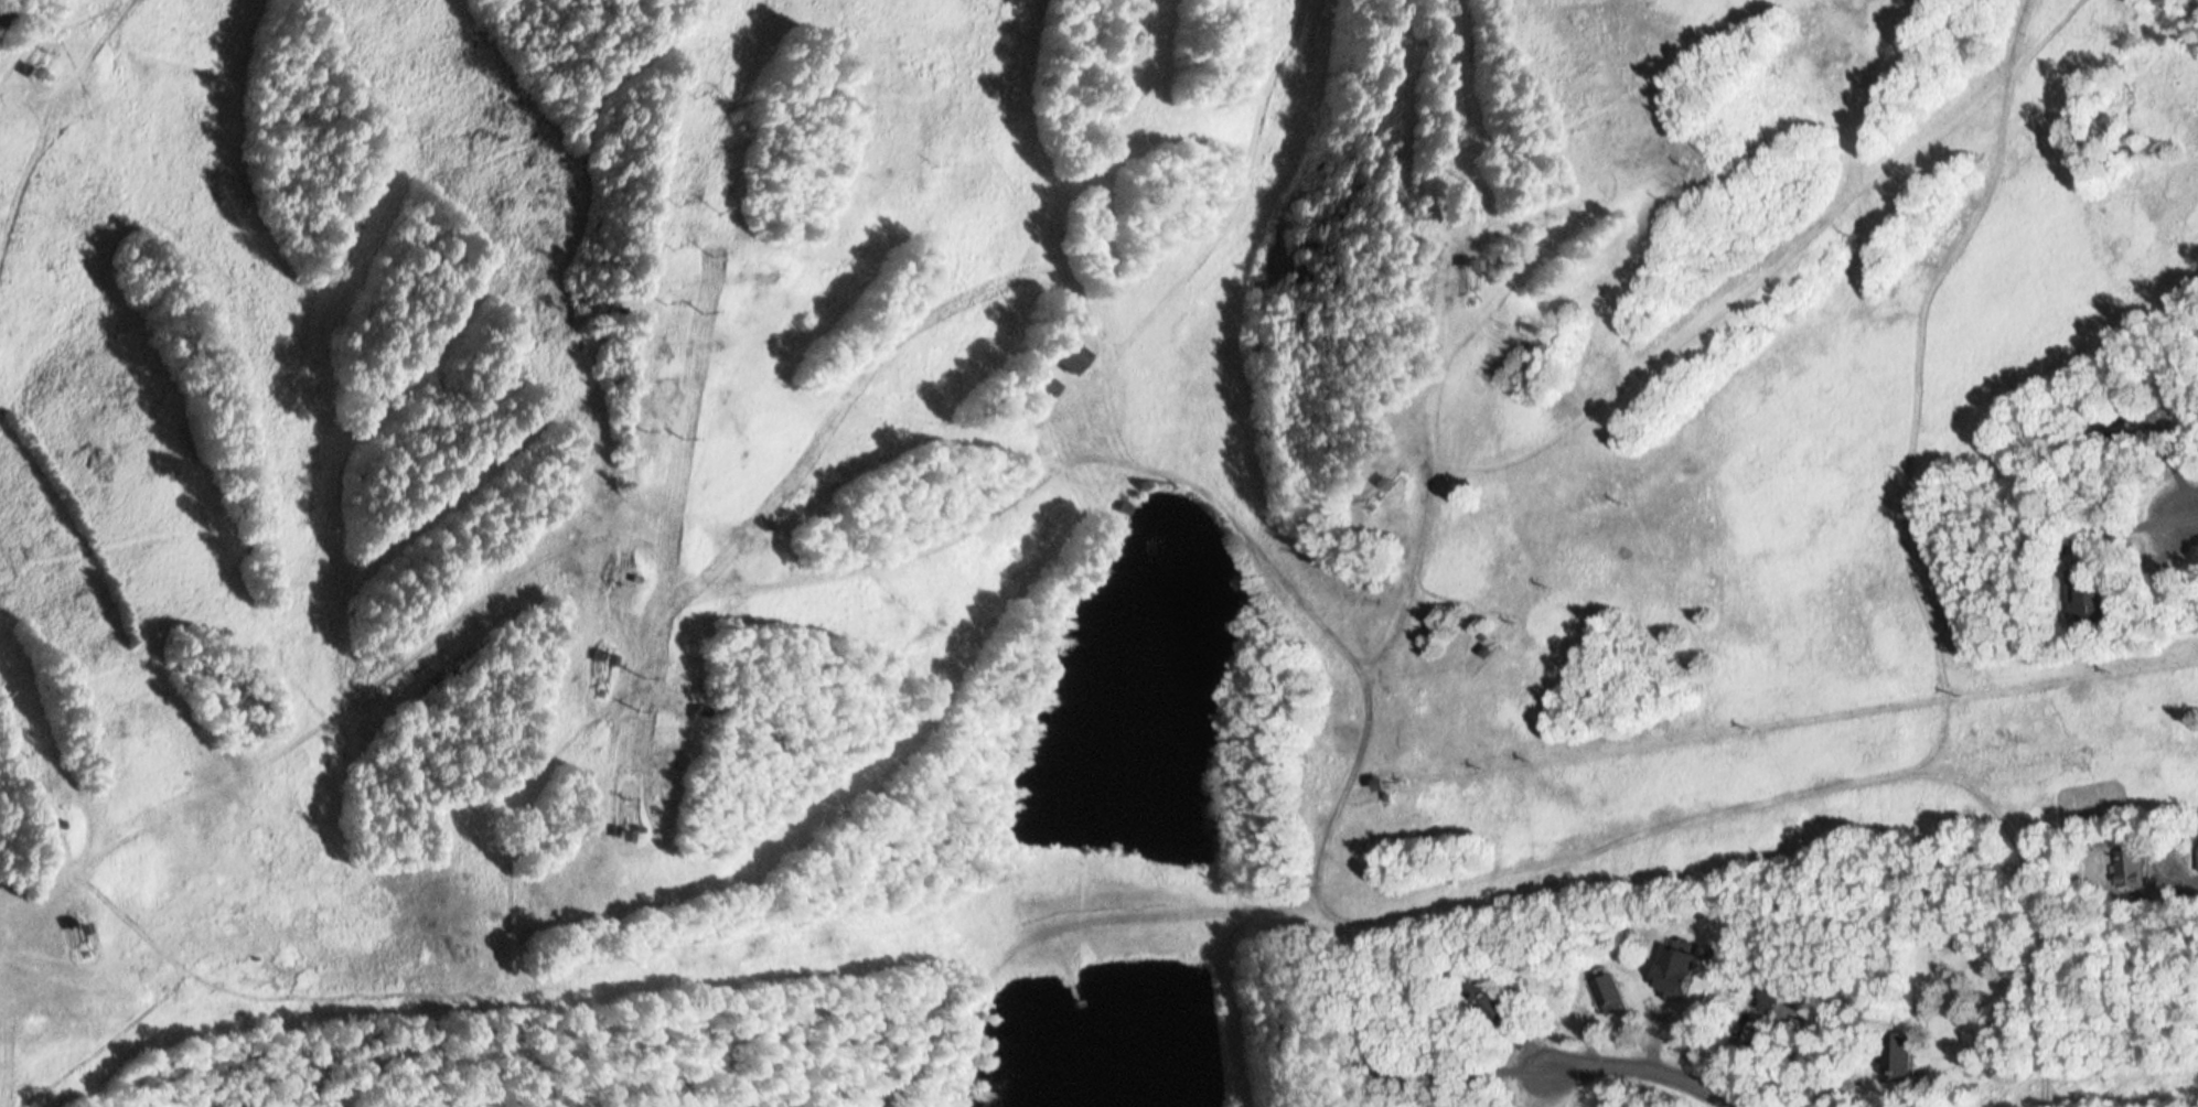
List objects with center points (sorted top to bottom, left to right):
aerialway pylon: (690, 86)
aerialway pylon: (732, 93)
aerialway pylon: (1448, 109)
aerialway pylon: (1686, 161)
aerialway pylon: (1913, 165)
aerialway pylon: (1451, 169)
aerialway pylon: (1671, 176)
aerialway pylon: (674, 192)
aerialway pylon: (1654, 194)
aerialway pylon: (716, 203)
aerialway pylon: (1856, 228)
aerialway pylon: (667, 238)
aerialway pylon: (710, 245)
aerialway pylon: (660, 291)
aerialway pylon: (700, 308)
building: (1069, 355)
building: (1044, 386)
aerialway pylon: (640, 423)
aerialway pylon: (683, 431)
aerialway pylon: (1620, 487)
ski resort: (1058, 516)
road: (2188, 517)
aerialway pylon: (1544, 571)
aerialway pylon: (616, 578)
building: (2086, 592)
aerialway pylon: (1516, 601)
aerialway pylon: (647, 667)
aerialway pylon: (2113, 669)
aerialway pylon: (6, 690)
aerialway pylon: (1958, 692)
aerialway pylon: (642, 702)
aerialway pylon: (1747, 723)
aerialway pylon: (22, 748)
aerialway pylon: (1531, 755)
aerialway pylon: (1479, 763)
aerialway pylon: (33, 787)
building: (2129, 869)
road: (2179, 881)
road: (2037, 926)
building: (1682, 970)
building: (1608, 990)
building: (1783, 1000)
building: (1484, 1007)
road: (1659, 1041)
building: (1902, 1054)
road: (1730, 1056)
road: (1638, 1066)
building: (1363, 1070)
road: (2090, 1084)
road: (1720, 1105)

